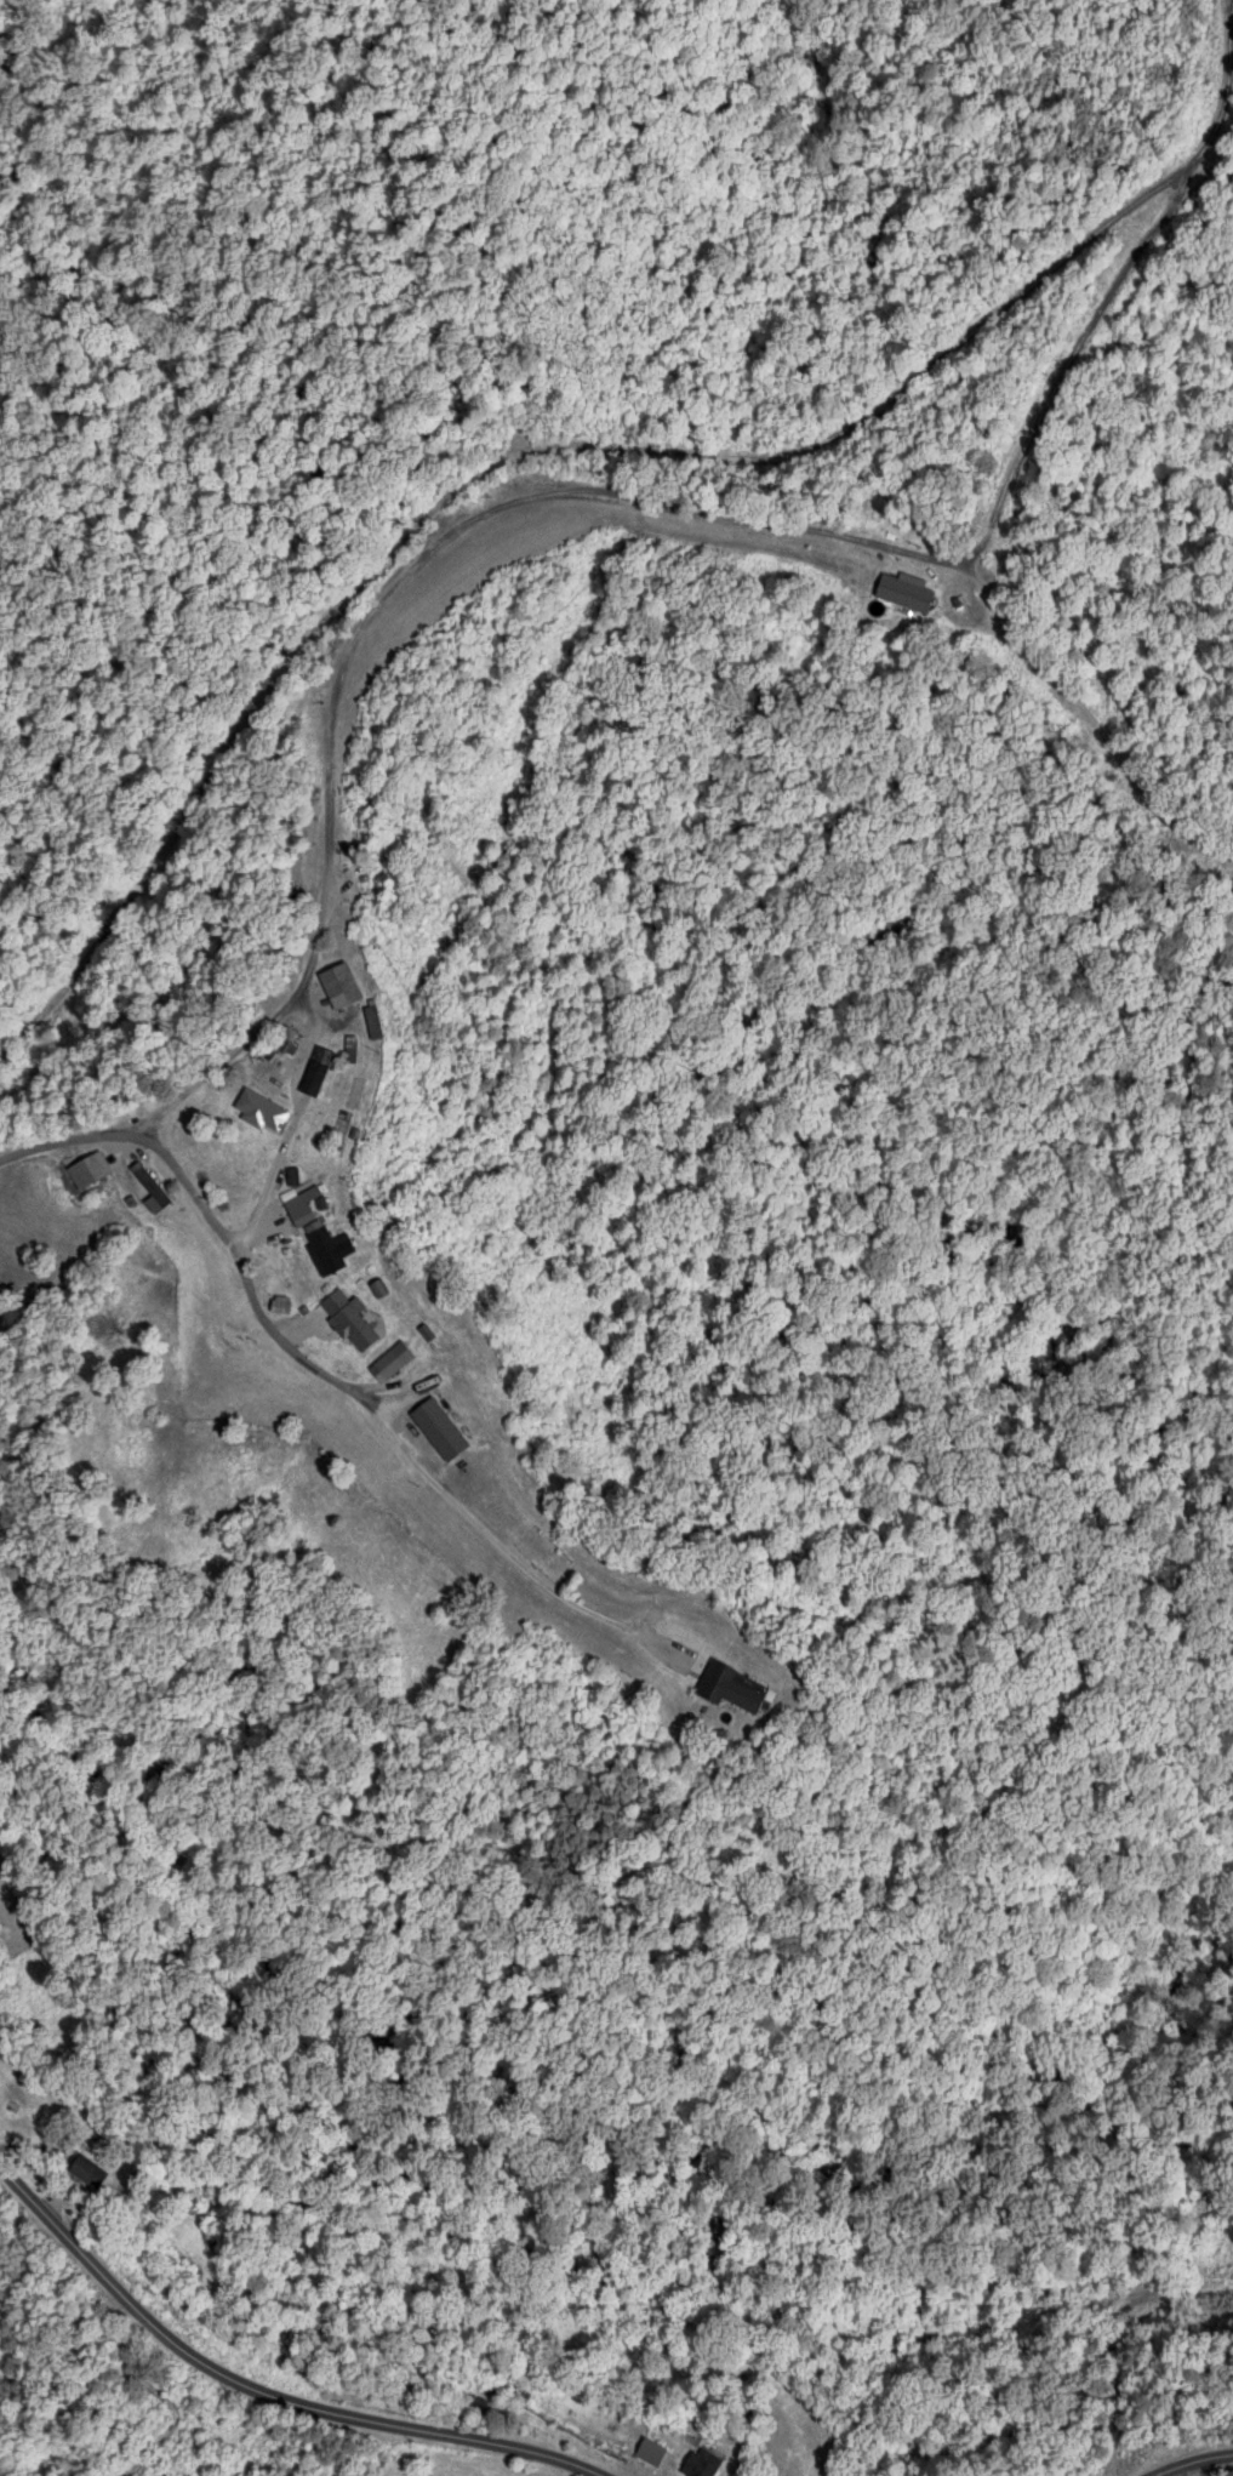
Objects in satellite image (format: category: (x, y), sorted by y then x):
road: (540, 449)
building: (493, 490)
building: (337, 985)
building: (371, 1022)
building: (316, 1071)
building: (259, 1109)
building: (97, 1171)
building: (158, 1183)
building: (302, 1208)
building: (329, 1249)
building: (349, 1319)
building: (394, 1359)
road: (314, 1367)
building: (436, 1428)
building: (726, 1688)
building: (89, 2170)
road: (256, 2394)
building: (476, 2403)
road: (1188, 2458)
building: (700, 2461)

